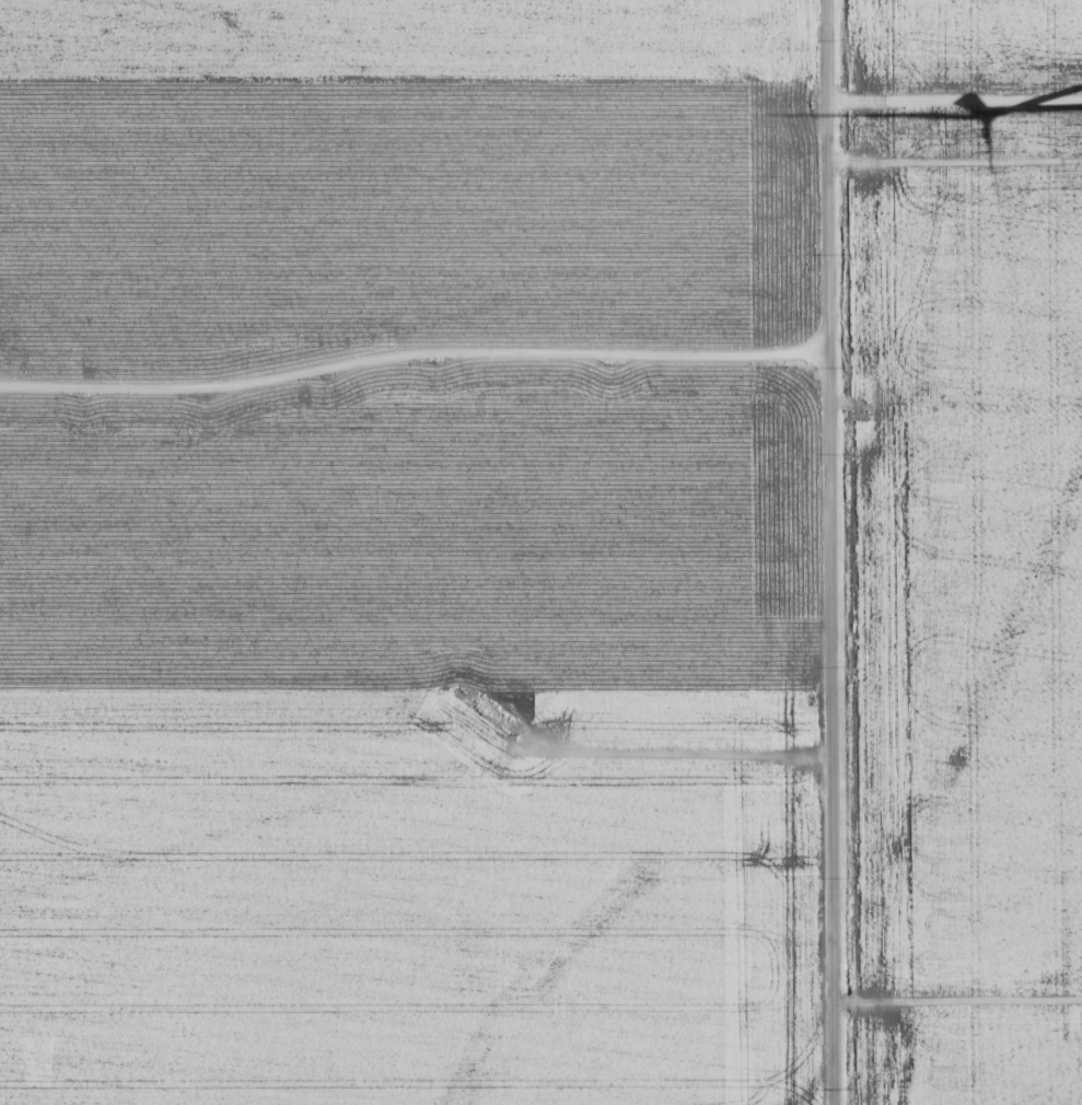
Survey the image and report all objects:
road: (947, 185)
road: (408, 377)
road: (823, 552)
road: (540, 1015)

